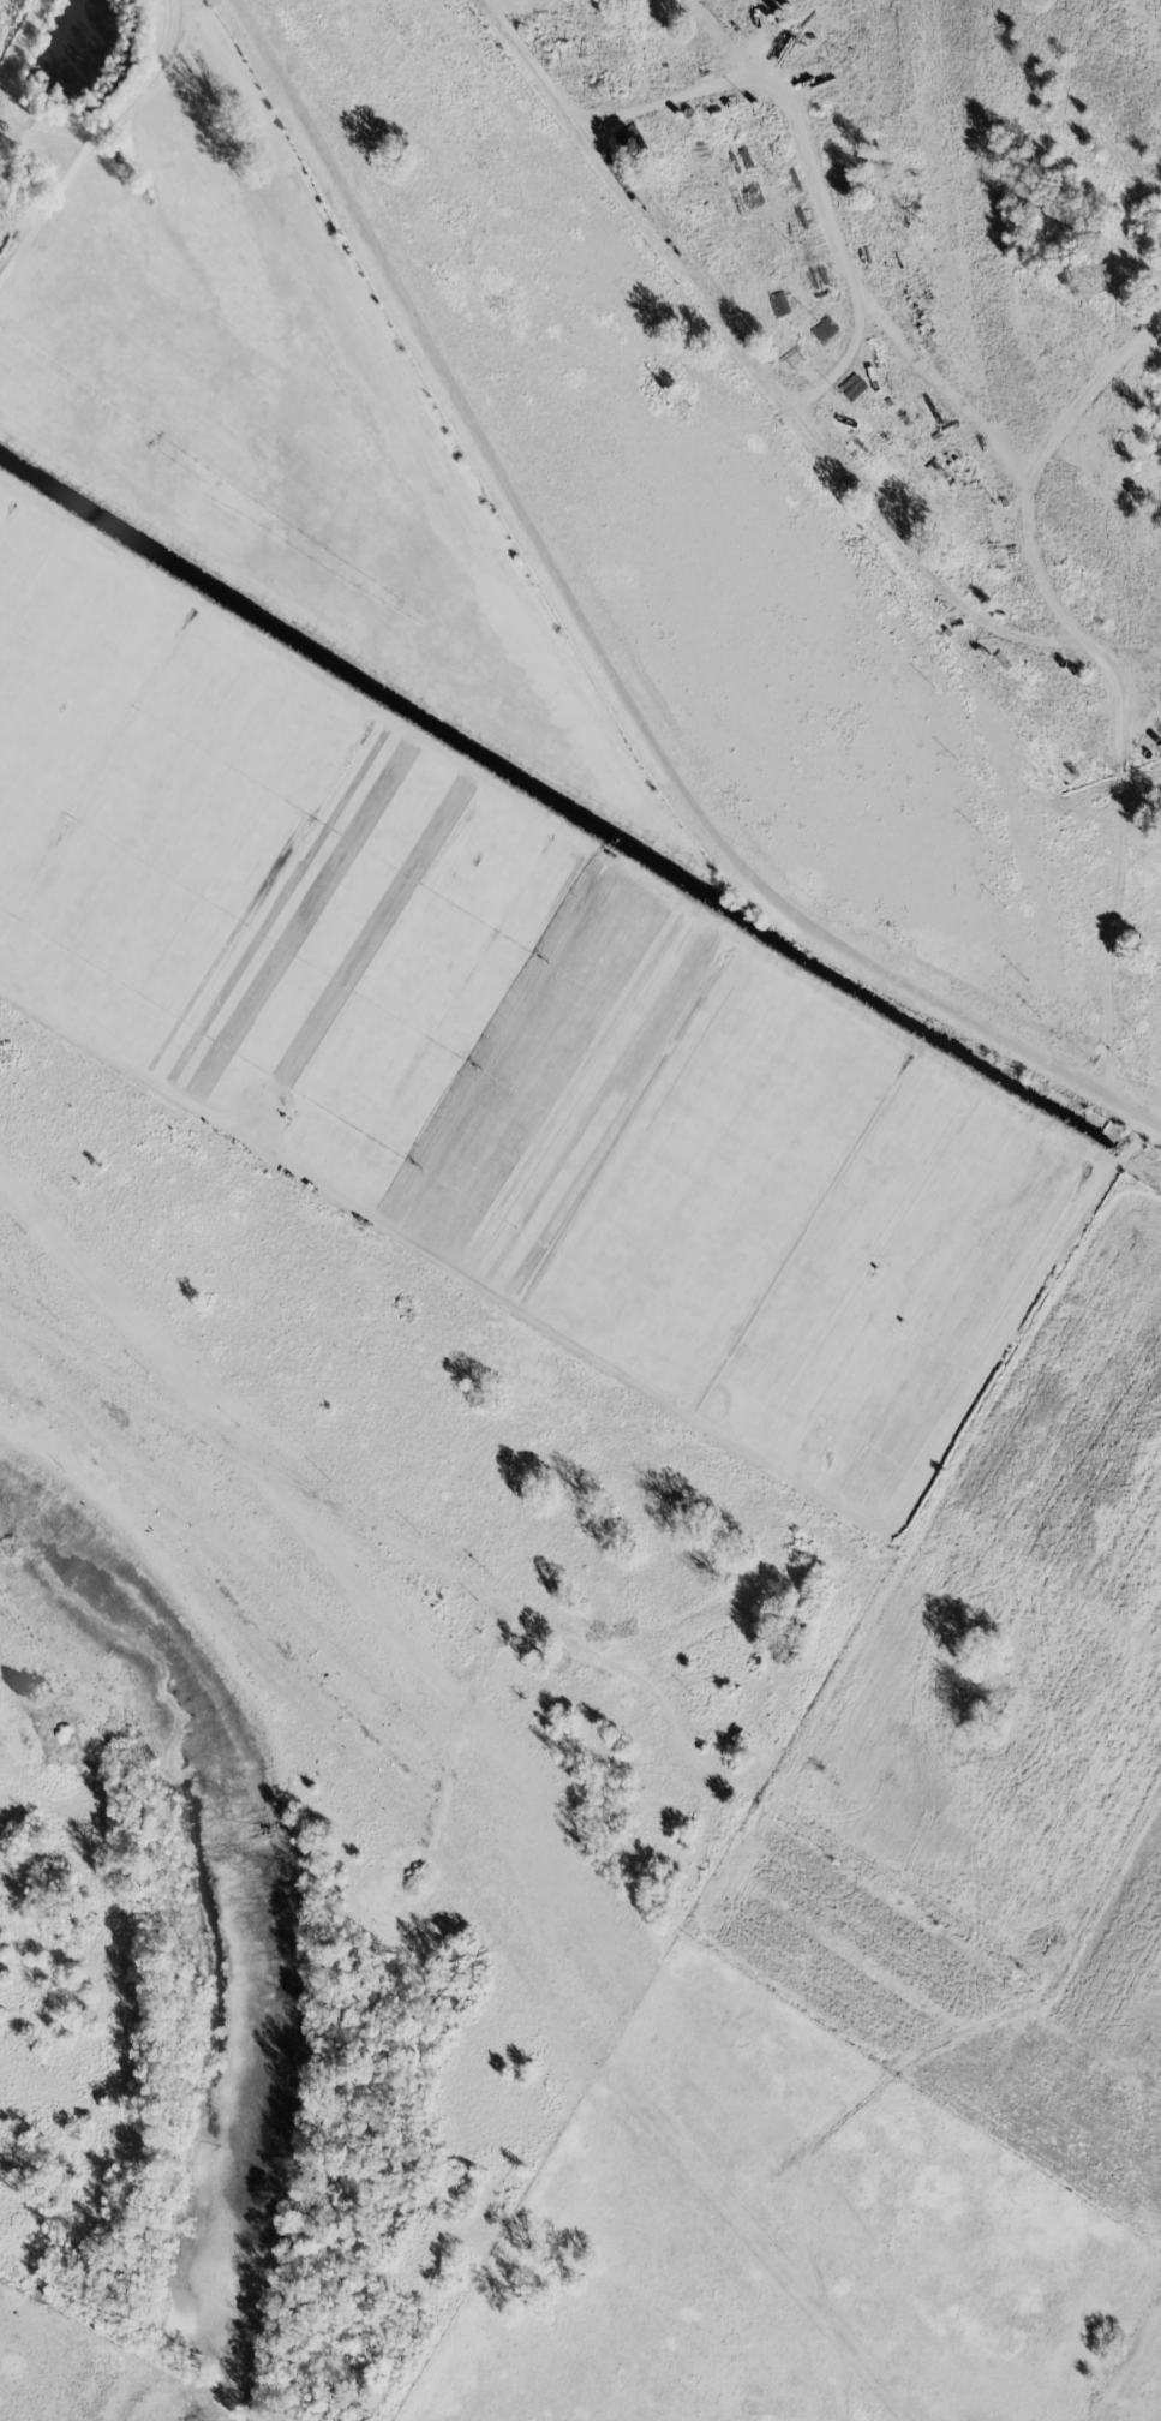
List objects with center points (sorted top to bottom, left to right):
road: (610, 647)

